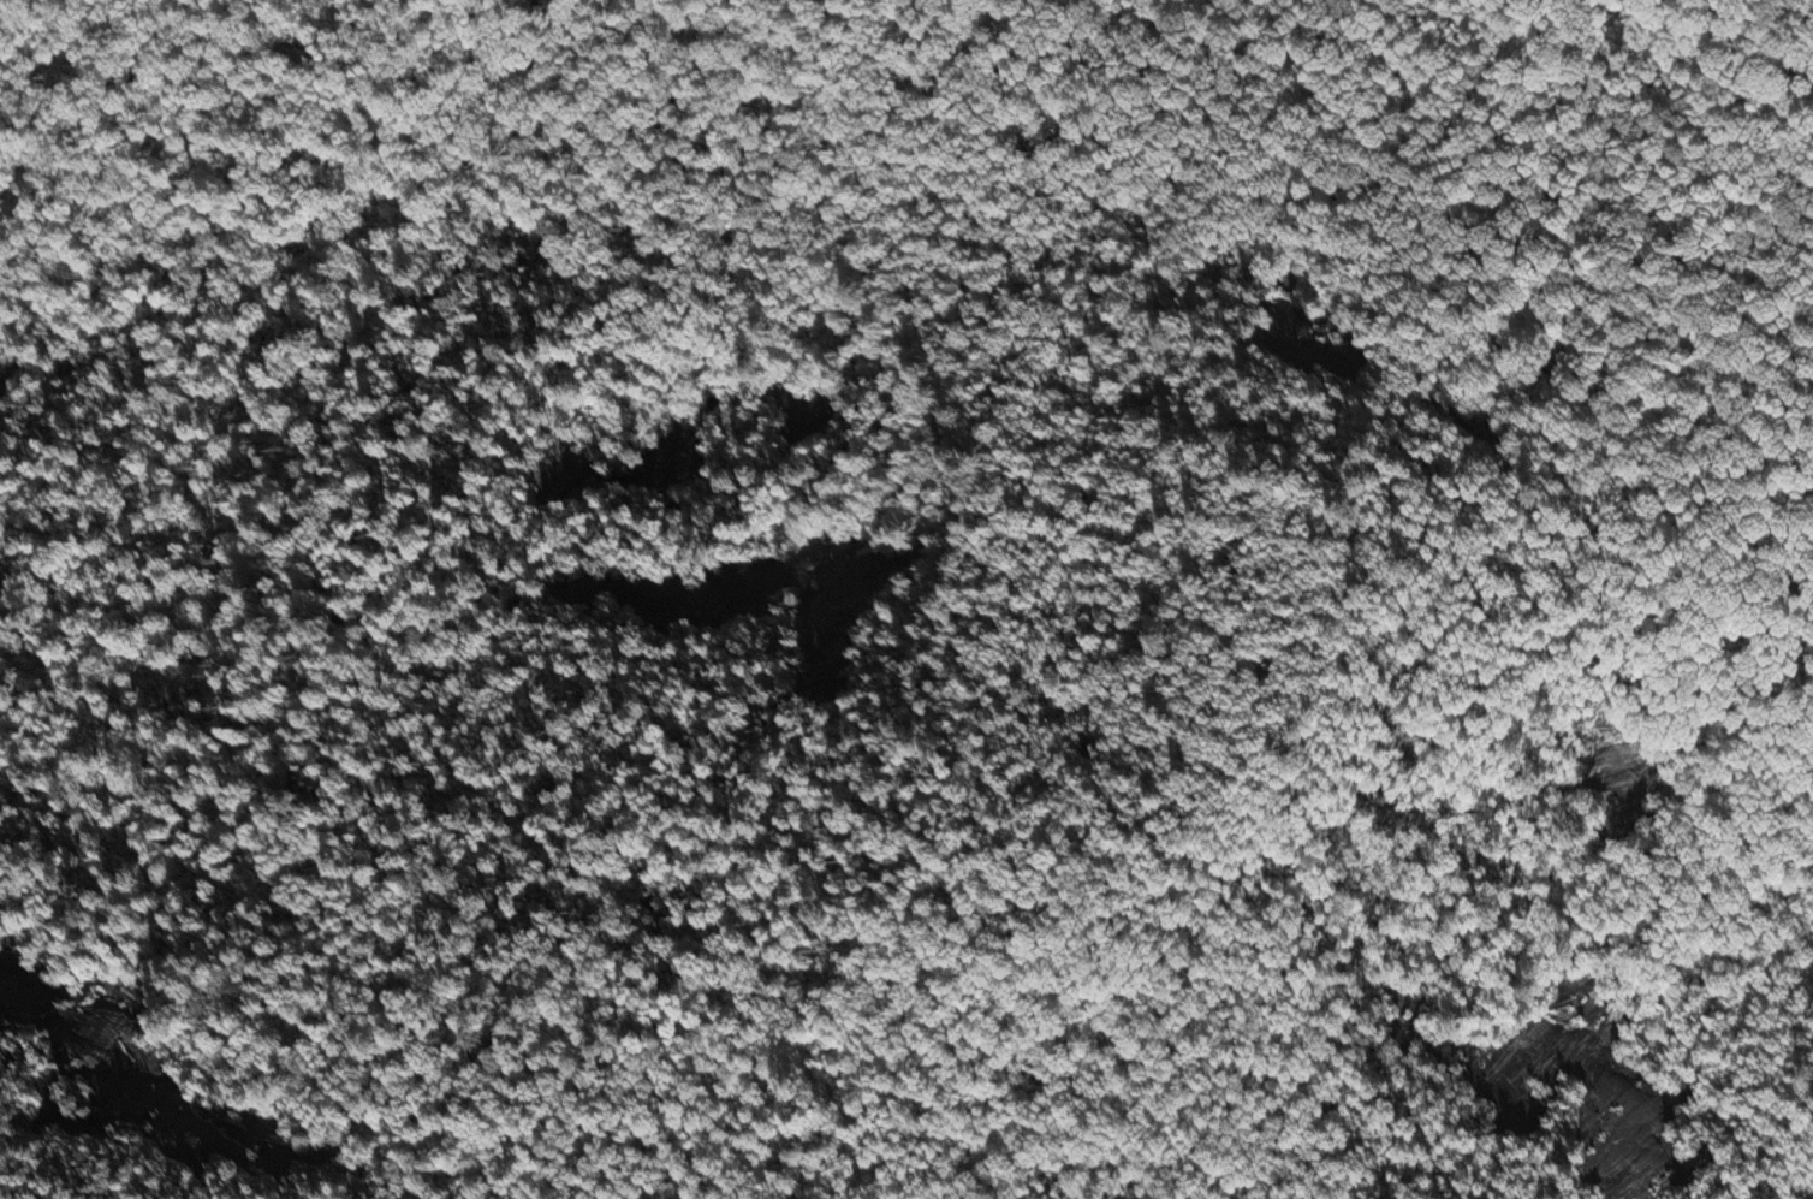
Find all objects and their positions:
park: (923, 609)

